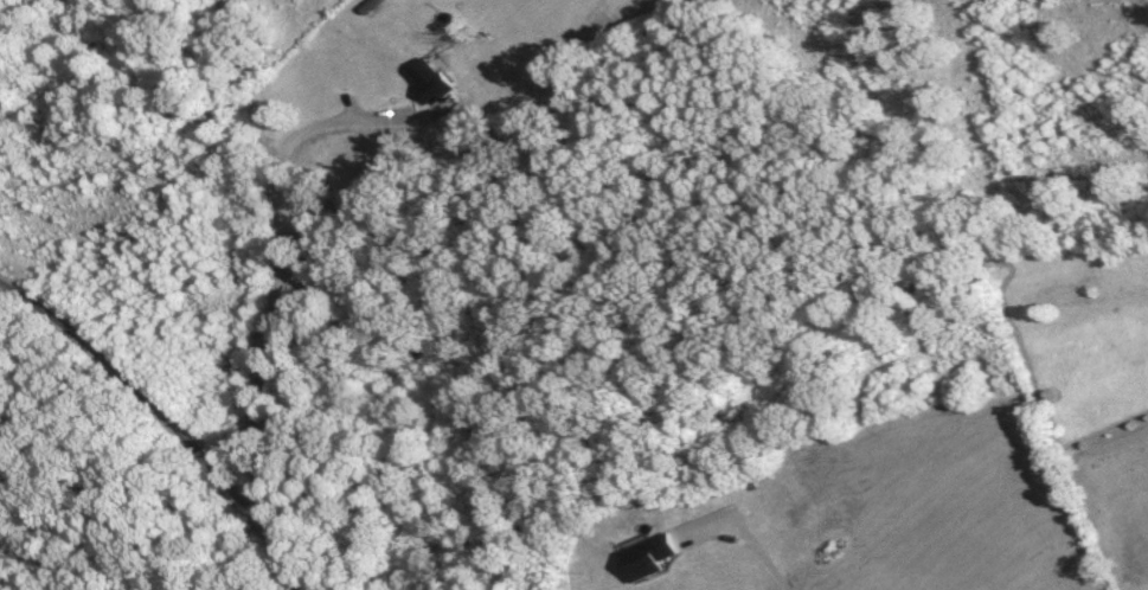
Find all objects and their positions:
building: (424, 81)
road: (308, 130)
road: (276, 237)
road: (168, 418)

